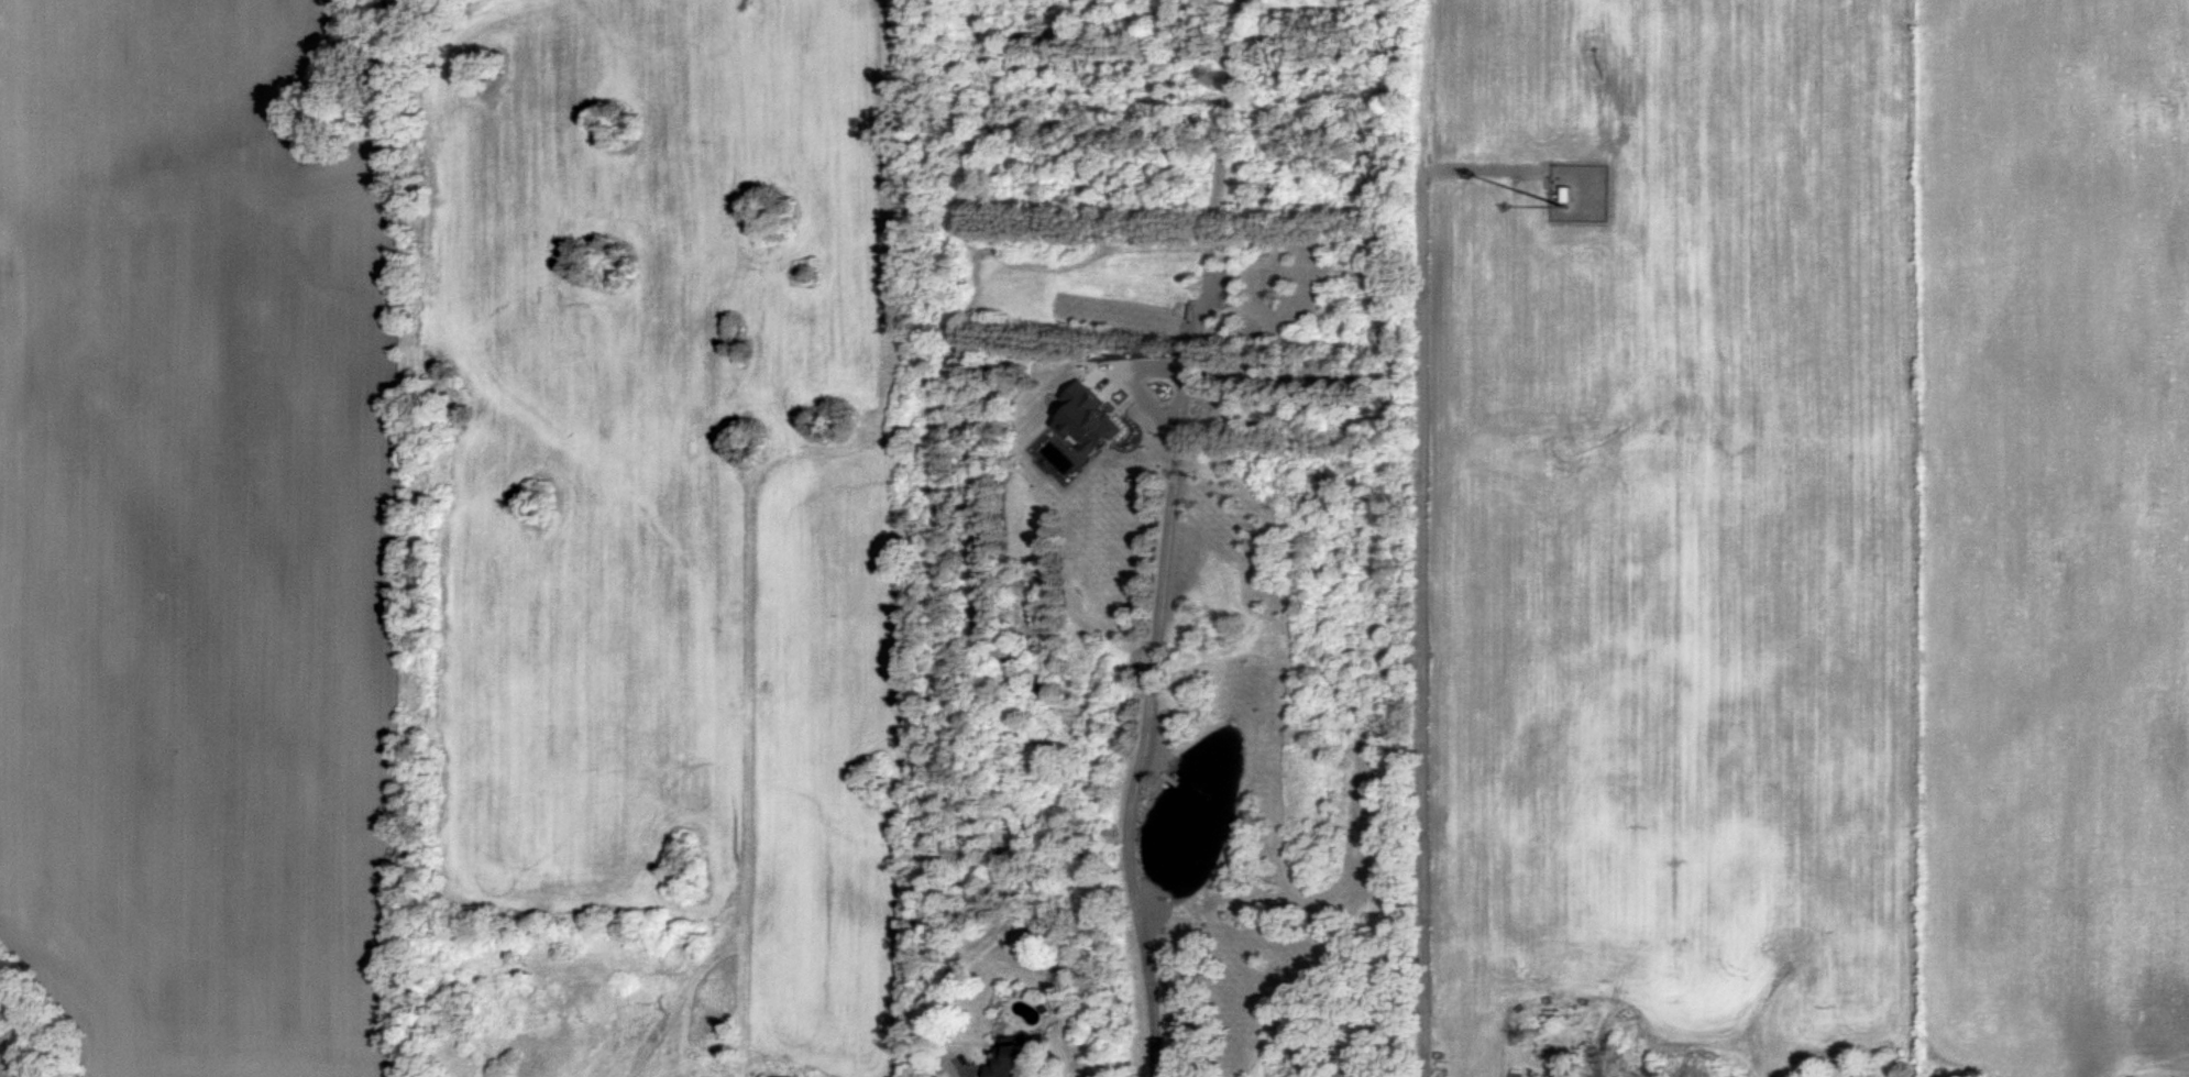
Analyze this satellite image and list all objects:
building: (1569, 195)
building: (1090, 409)
crop: (1685, 449)
crop: (2057, 538)
crop: (647, 539)
crop: (199, 546)
road: (1428, 564)
road: (1147, 712)
building: (1011, 1058)
building: (1517, 1075)
building: (788, 1076)

